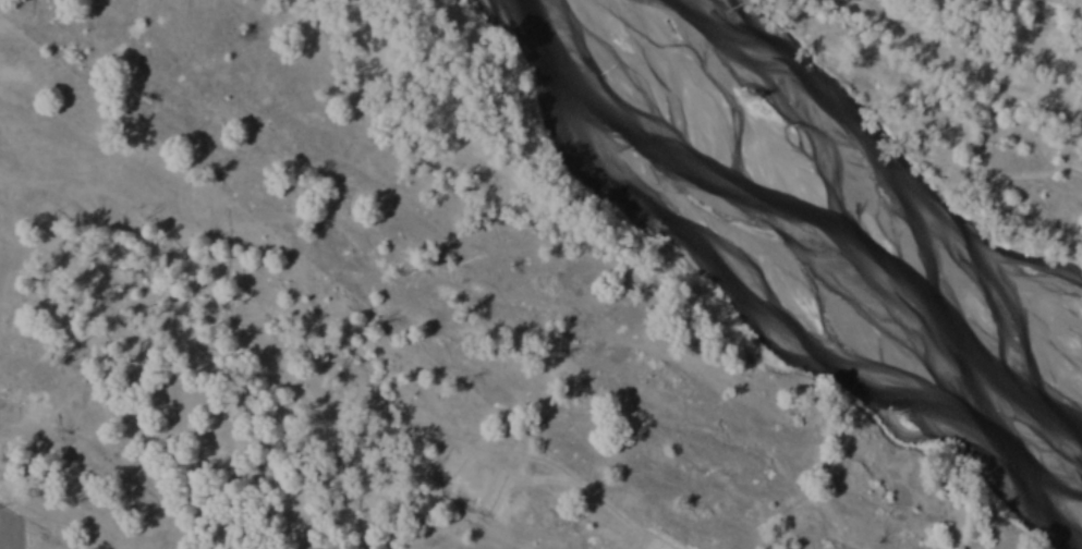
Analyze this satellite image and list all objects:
river: (855, 167)

